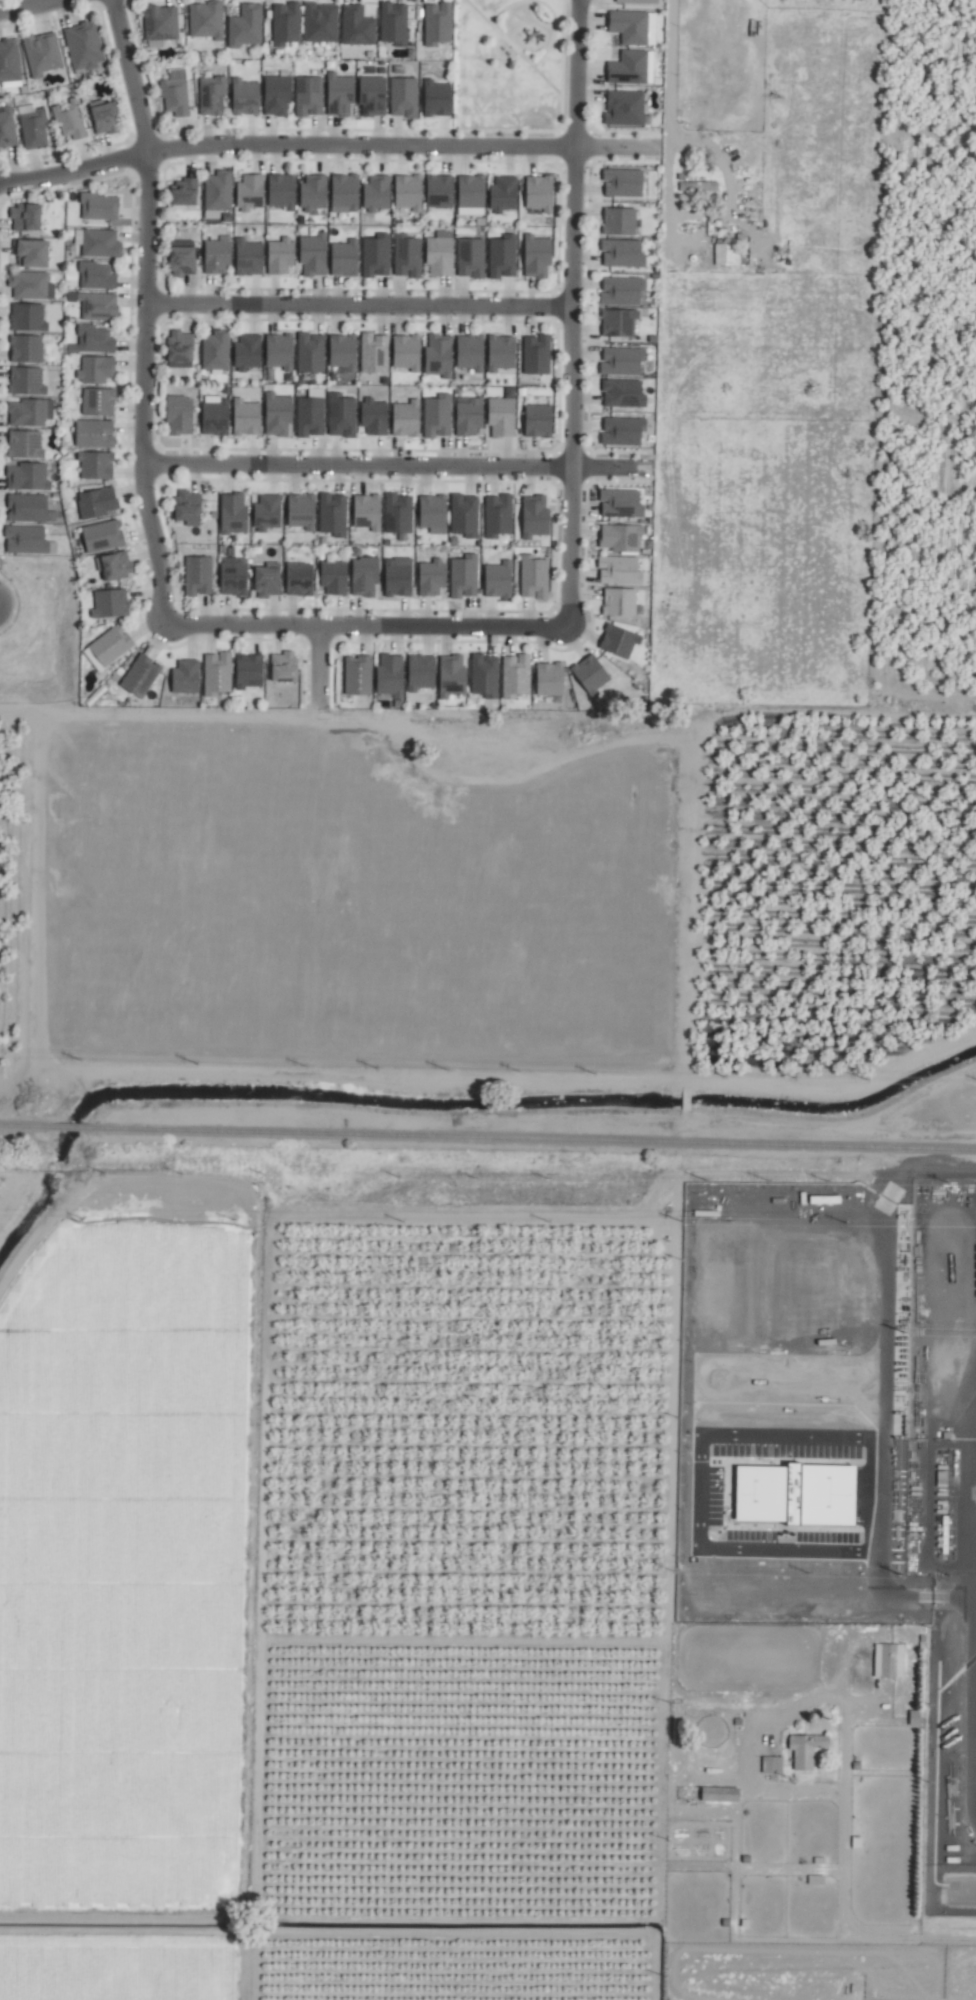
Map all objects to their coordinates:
building: (638, 1)
road: (30, 6)
building: (206, 20)
building: (320, 22)
building: (161, 23)
building: (394, 23)
building: (285, 24)
building: (437, 24)
building: (245, 26)
building: (357, 26)
building: (630, 27)
building: (84, 45)
building: (42, 54)
building: (9, 62)
building: (628, 68)
building: (174, 94)
building: (278, 95)
building: (340, 95)
building: (212, 96)
building: (374, 96)
building: (246, 97)
building: (309, 97)
building: (404, 97)
building: (438, 99)
road: (667, 101)
building: (625, 108)
building: (106, 118)
building: (69, 121)
building: (32, 127)
building: (7, 128)
road: (327, 148)
building: (624, 183)
building: (218, 191)
building: (283, 191)
building: (441, 191)
building: (185, 192)
building: (250, 192)
building: (409, 192)
building: (314, 193)
building: (345, 193)
building: (541, 193)
building: (377, 194)
building: (504, 194)
building: (472, 195)
building: (100, 207)
building: (27, 218)
building: (620, 221)
building: (101, 244)
building: (32, 253)
building: (623, 253)
building: (440, 254)
building: (314, 255)
building: (726, 255)
building: (218, 256)
building: (281, 256)
building: (376, 256)
building: (407, 256)
building: (502, 256)
building: (537, 256)
building: (250, 258)
building: (345, 258)
building: (471, 258)
building: (183, 259)
building: (97, 276)
building: (31, 286)
building: (623, 291)
building: (99, 306)
road: (360, 307)
road: (147, 311)
road: (572, 313)
building: (28, 318)
building: (619, 322)
building: (95, 340)
building: (180, 346)
building: (27, 349)
building: (216, 351)
building: (280, 351)
building: (248, 352)
building: (344, 352)
building: (408, 352)
building: (471, 352)
building: (311, 353)
building: (374, 353)
building: (501, 353)
building: (439, 355)
building: (536, 355)
building: (622, 362)
building: (96, 371)
building: (27, 381)
building: (624, 393)
building: (98, 402)
building: (27, 413)
building: (279, 414)
building: (180, 416)
building: (216, 416)
building: (342, 416)
building: (438, 416)
building: (469, 416)
building: (310, 417)
building: (375, 417)
building: (247, 418)
building: (502, 418)
building: (407, 419)
building: (539, 421)
building: (624, 431)
building: (95, 434)
building: (25, 445)
building: (96, 466)
road: (397, 467)
building: (28, 477)
building: (96, 503)
building: (621, 503)
building: (189, 508)
building: (29, 509)
building: (302, 512)
building: (368, 512)
building: (268, 513)
building: (234, 514)
building: (398, 514)
building: (433, 514)
building: (333, 515)
building: (464, 516)
building: (498, 516)
building: (536, 517)
building: (103, 536)
building: (621, 538)
building: (28, 541)
building: (114, 566)
building: (621, 571)
building: (198, 576)
building: (365, 576)
building: (234, 577)
building: (335, 577)
building: (464, 577)
building: (534, 577)
building: (432, 578)
building: (301, 579)
building: (398, 579)
building: (269, 580)
building: (499, 580)
building: (621, 603)
building: (110, 604)
road: (366, 627)
building: (619, 641)
building: (112, 645)
building: (93, 660)
building: (285, 667)
road: (321, 667)
building: (250, 671)
building: (422, 672)
building: (217, 674)
building: (358, 675)
building: (591, 675)
building: (140, 676)
building: (391, 676)
building: (453, 676)
building: (485, 676)
building: (186, 677)
building: (515, 677)
building: (551, 679)
crop: (845, 1102)
railway: (23, 1126)
railway: (71, 1127)
railway: (535, 1137)
crop: (510, 1305)
power substation: (944, 1517)
building: (888, 1660)
building: (808, 1750)
building: (771, 1765)
building: (721, 1794)

